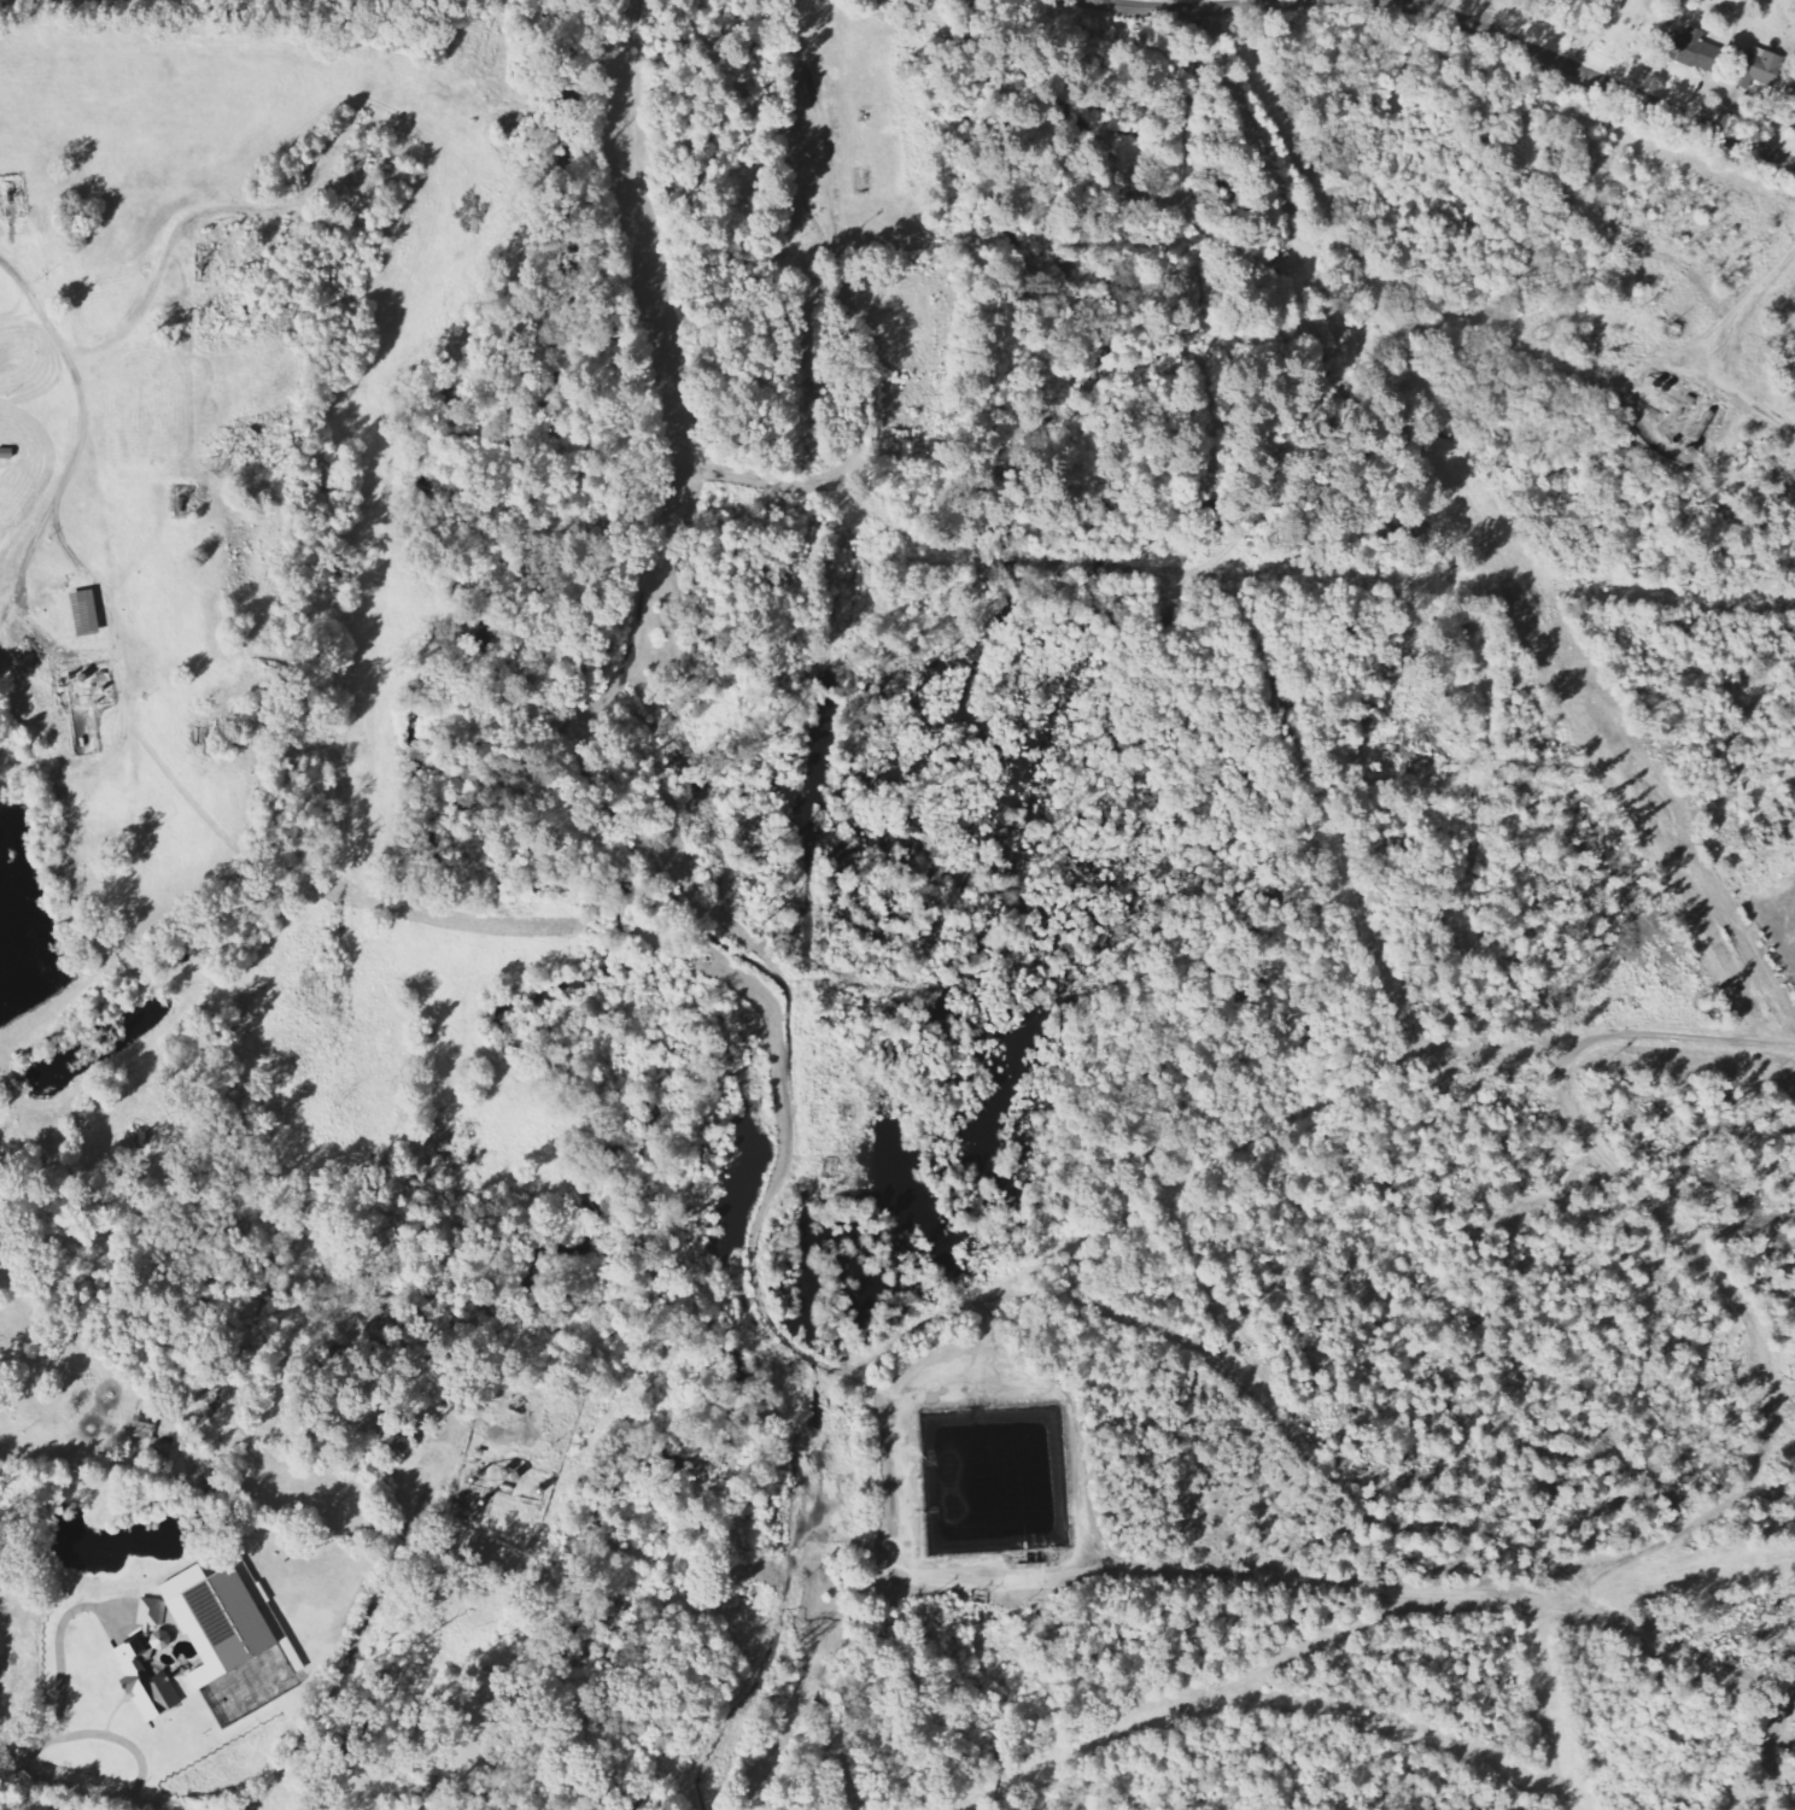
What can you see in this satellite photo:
road: (1189, 8)
building: (1695, 51)
building: (1761, 68)
road: (1591, 78)
building: (1791, 102)
road: (175, 236)
road: (982, 281)
road: (1294, 304)
road: (1713, 355)
road: (84, 429)
road: (2, 604)
building: (87, 613)
road: (2, 614)
road: (116, 628)
road: (610, 693)
road: (113, 756)
road: (849, 982)
road: (1512, 988)
road: (118, 1059)
road: (899, 1406)
building: (144, 1428)
road: (1613, 1559)
road: (1443, 1591)
road: (1574, 1595)
road: (372, 1600)
building: (153, 1615)
building: (221, 1622)
building: (163, 1641)
building: (147, 1683)
road: (1789, 1695)
road: (1771, 1752)
road: (80, 1787)
road: (162, 1809)

